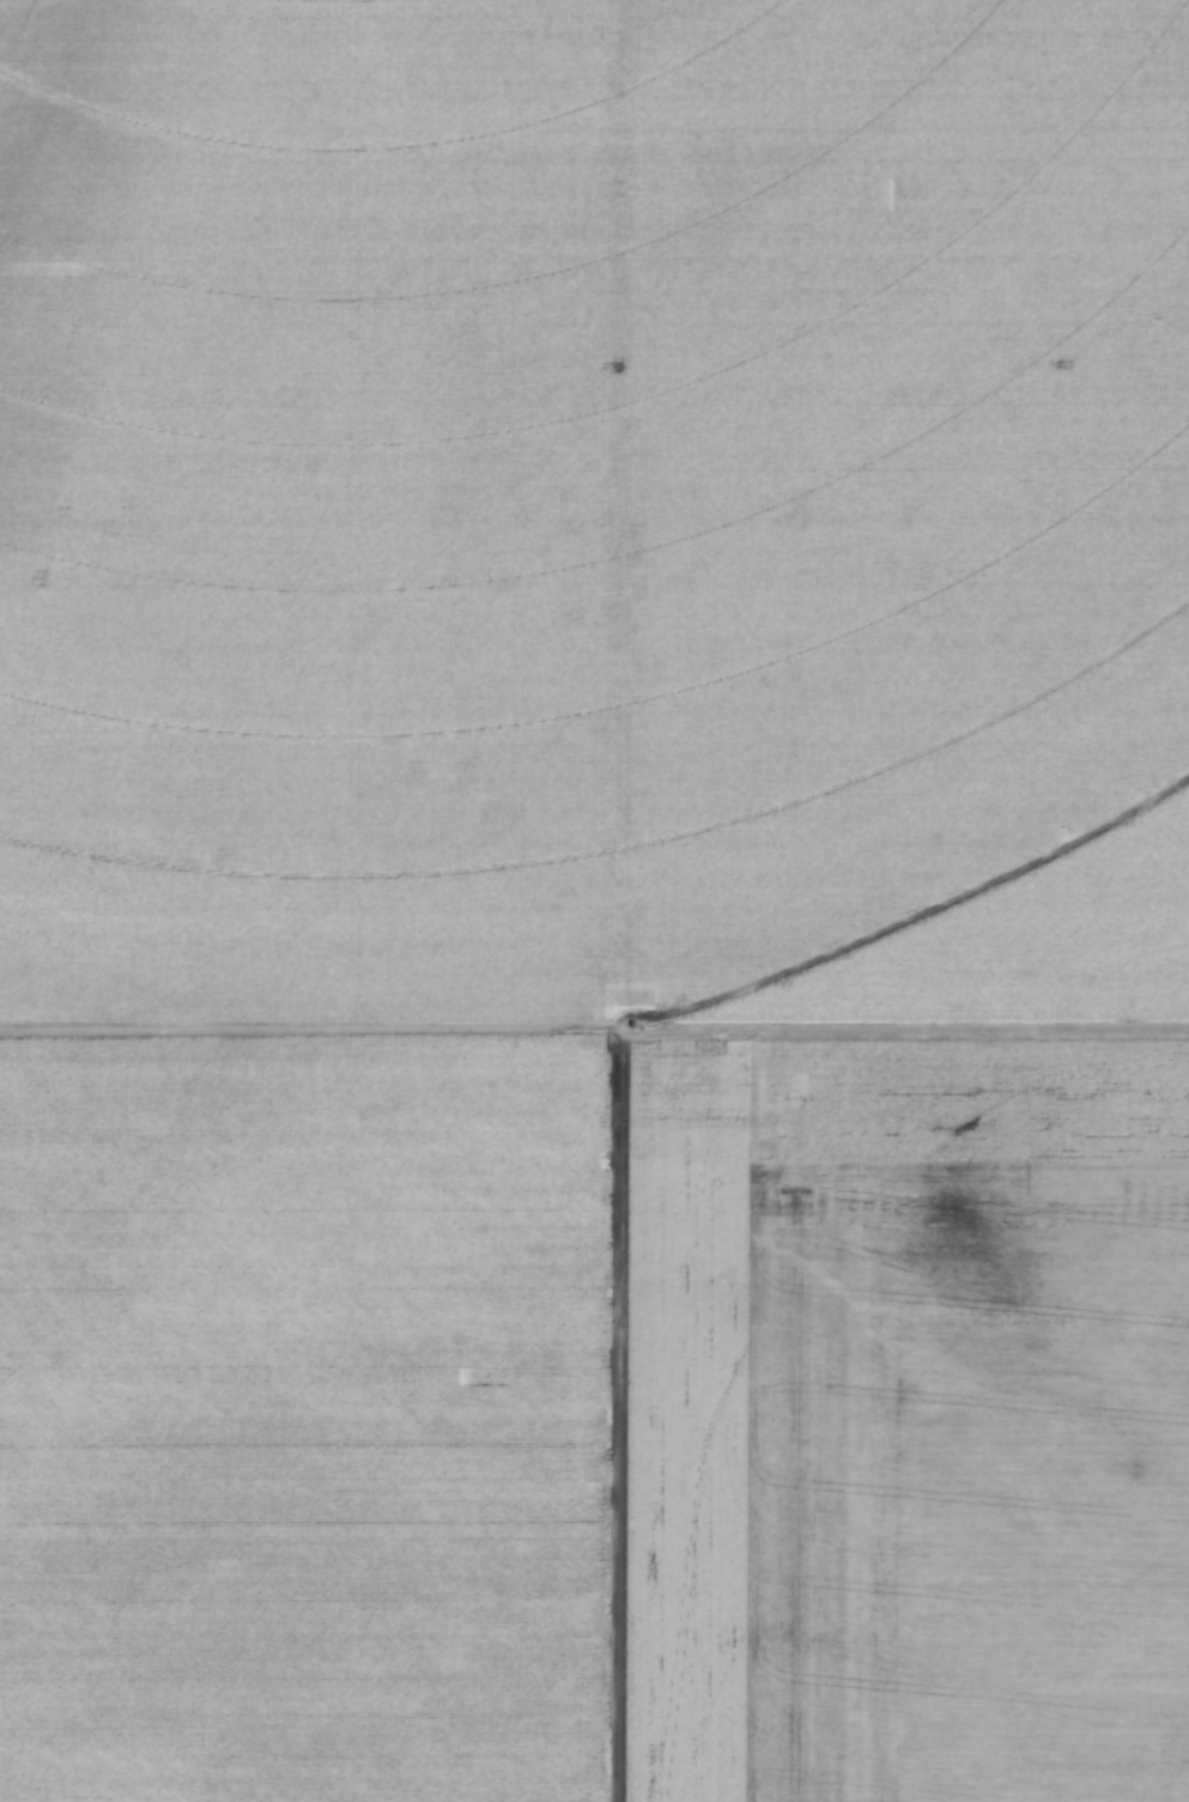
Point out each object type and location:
crop: (305, 1419)

